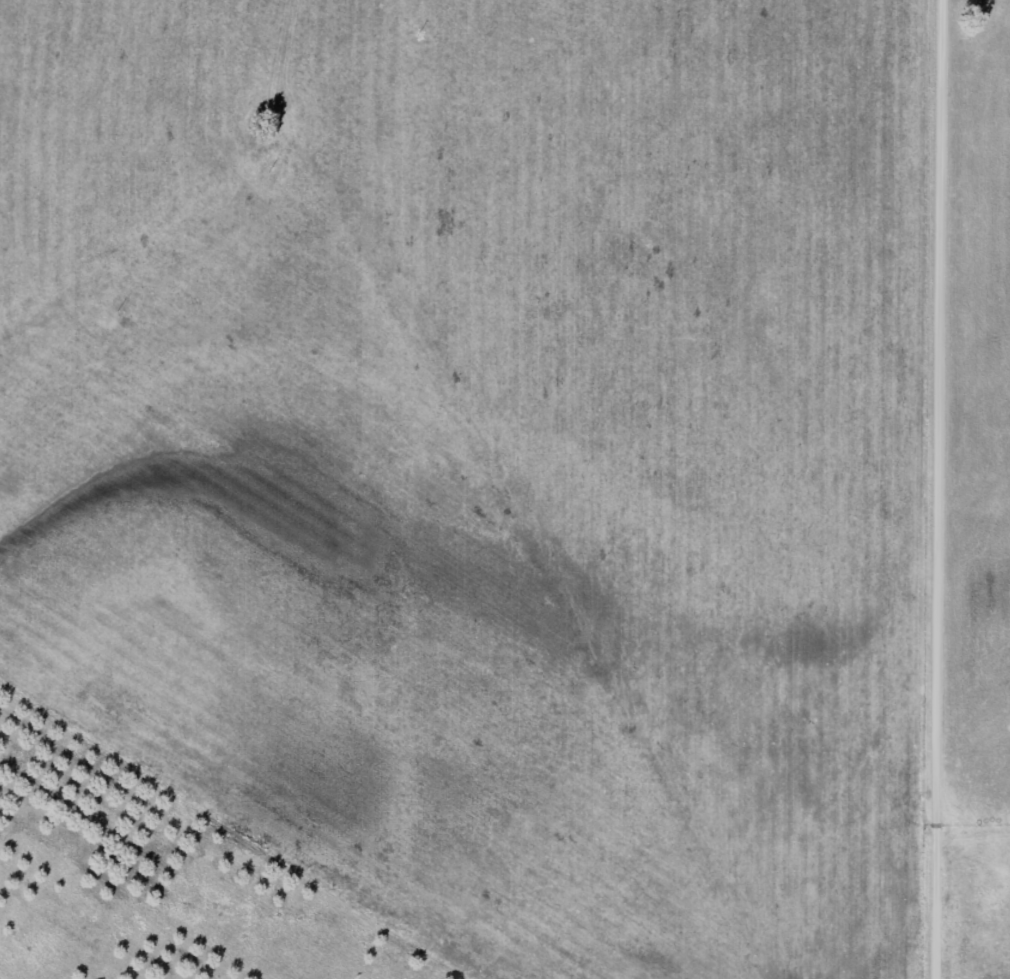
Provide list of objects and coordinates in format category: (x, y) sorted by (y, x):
road: (940, 489)
road: (18, 948)

